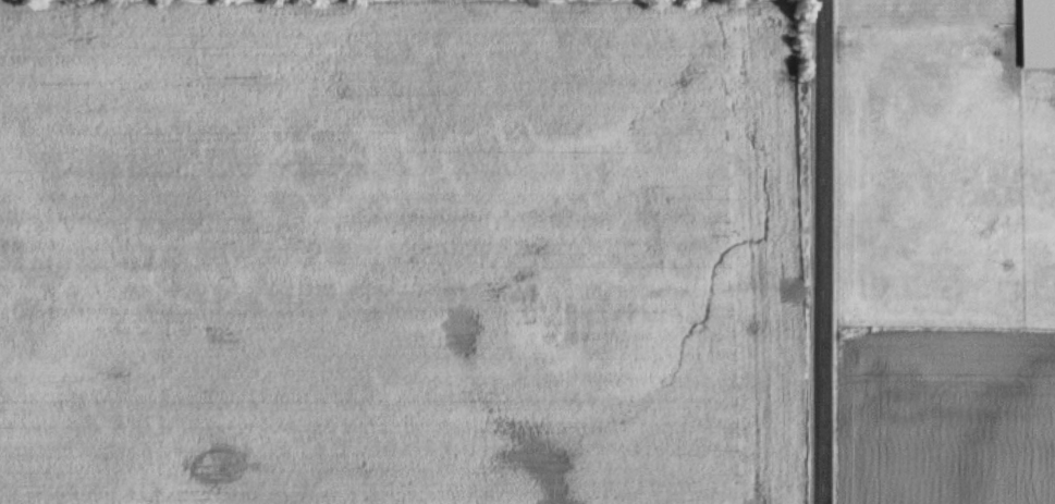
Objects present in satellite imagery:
road: (821, 251)

